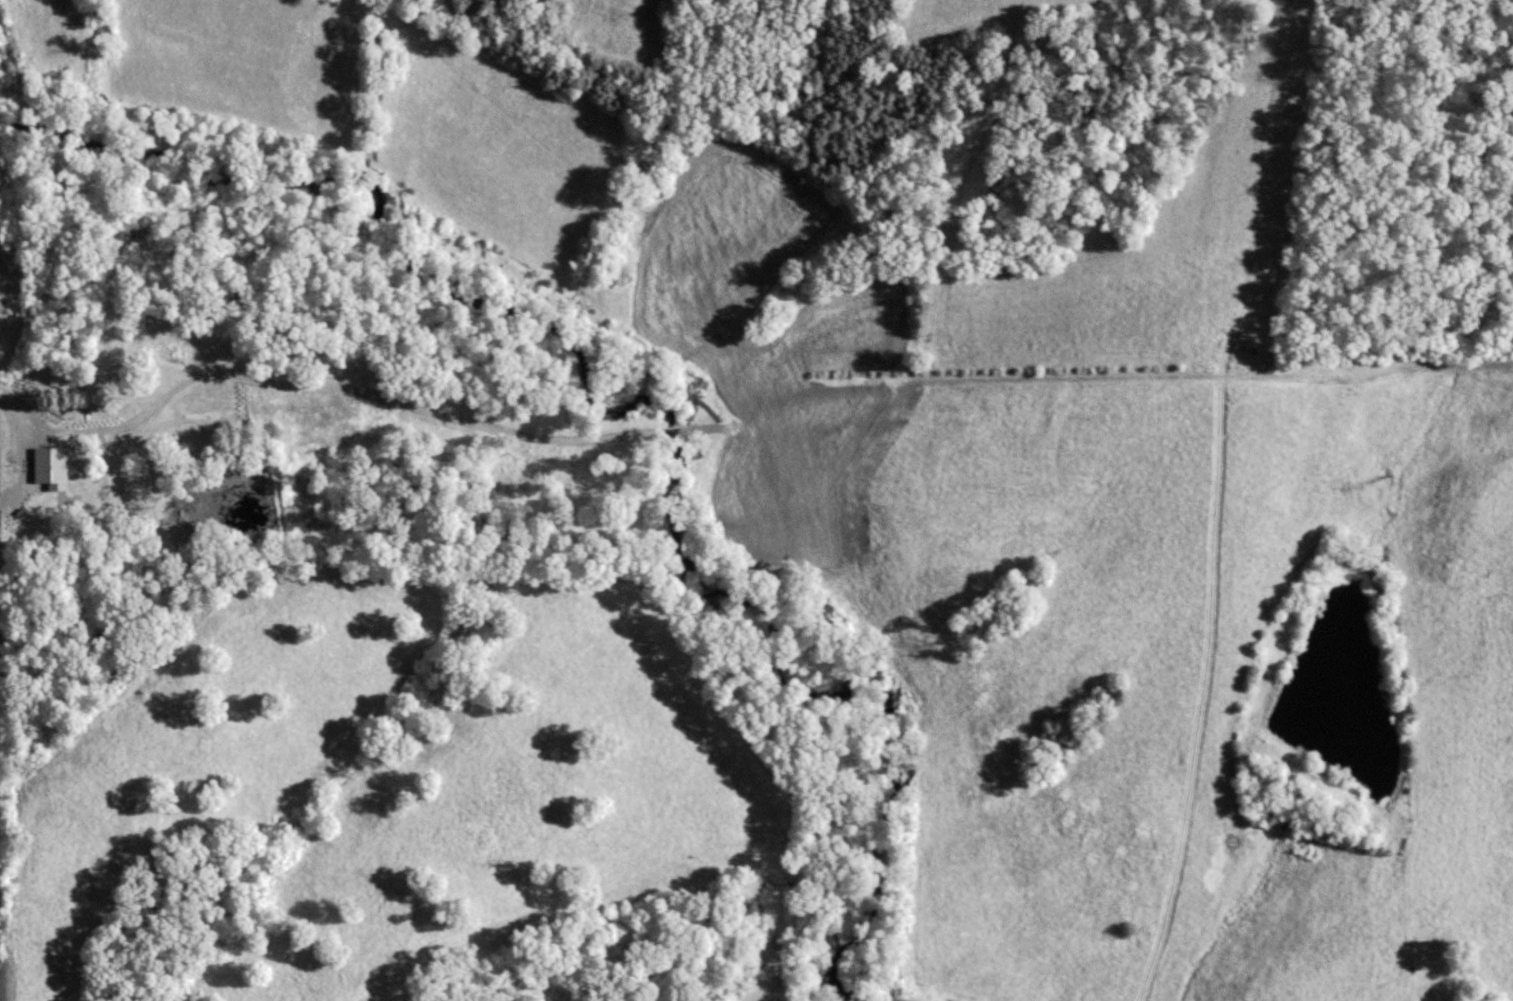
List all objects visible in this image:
building: (49, 463)

